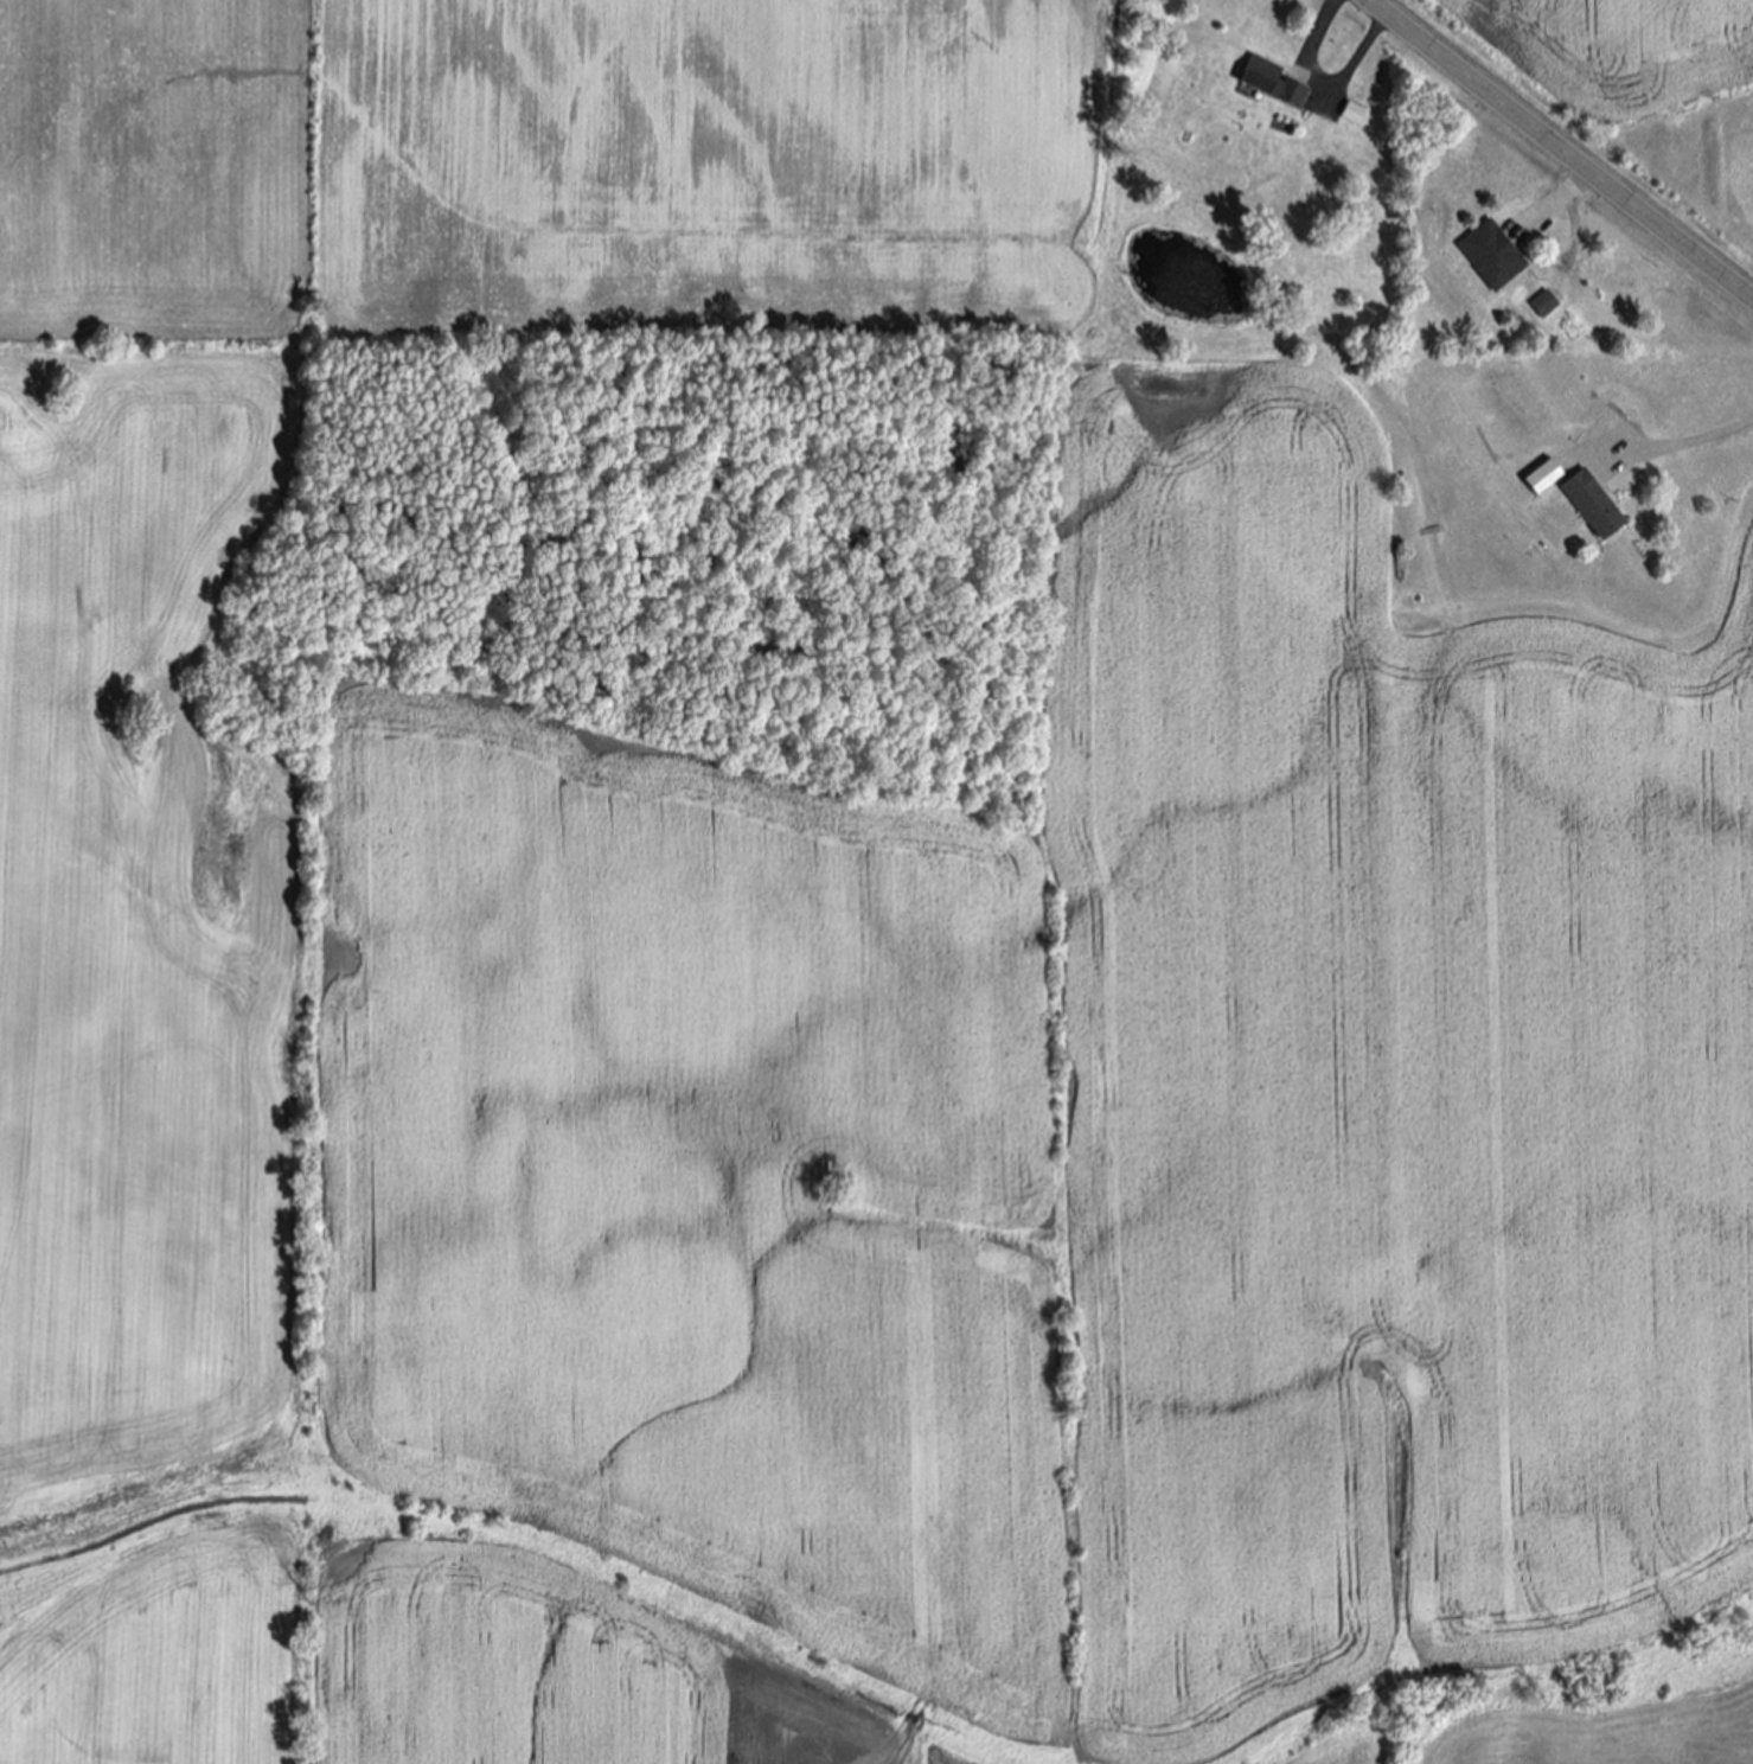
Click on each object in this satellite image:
building: (1277, 81)
road: (1324, 85)
building: (1354, 115)
road: (1560, 149)
road: (1557, 198)
building: (1493, 257)
building: (1546, 306)
road: (1682, 446)
building: (1546, 479)
building: (1597, 506)

